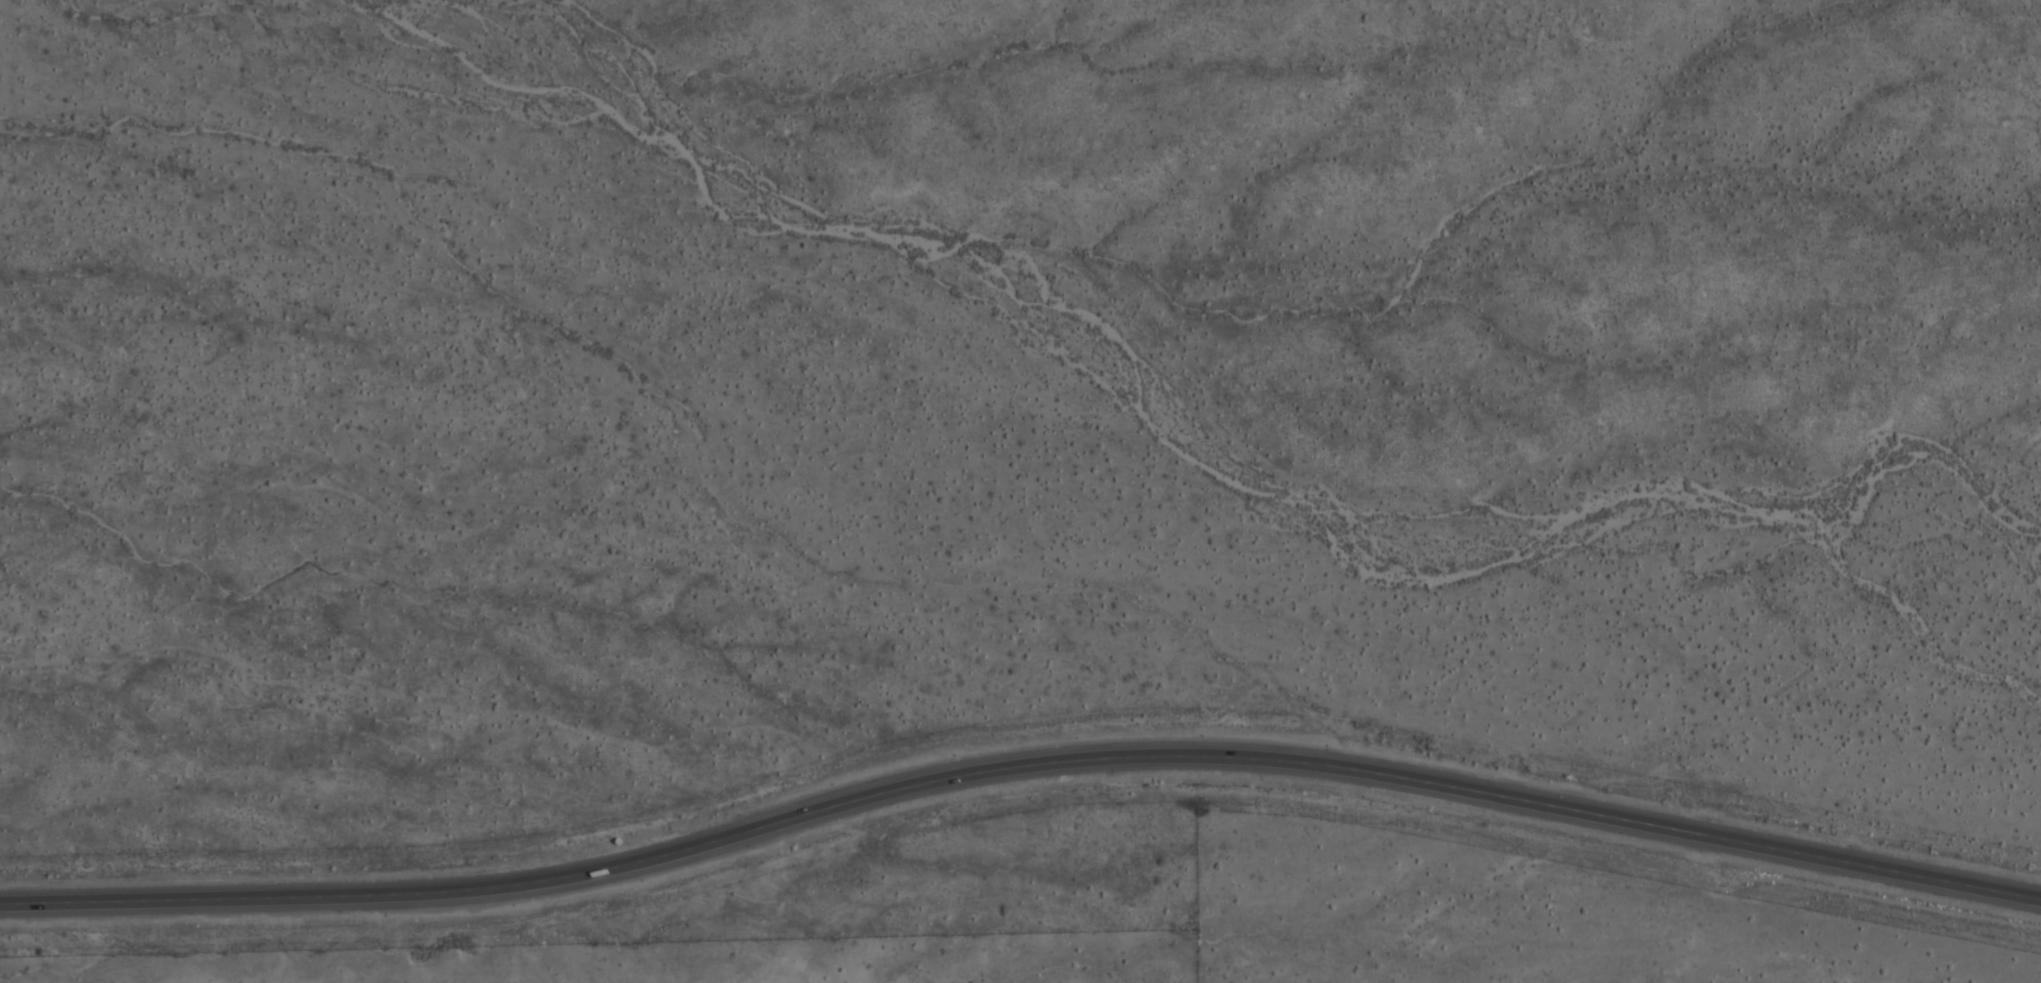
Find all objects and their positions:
road: (1019, 766)

